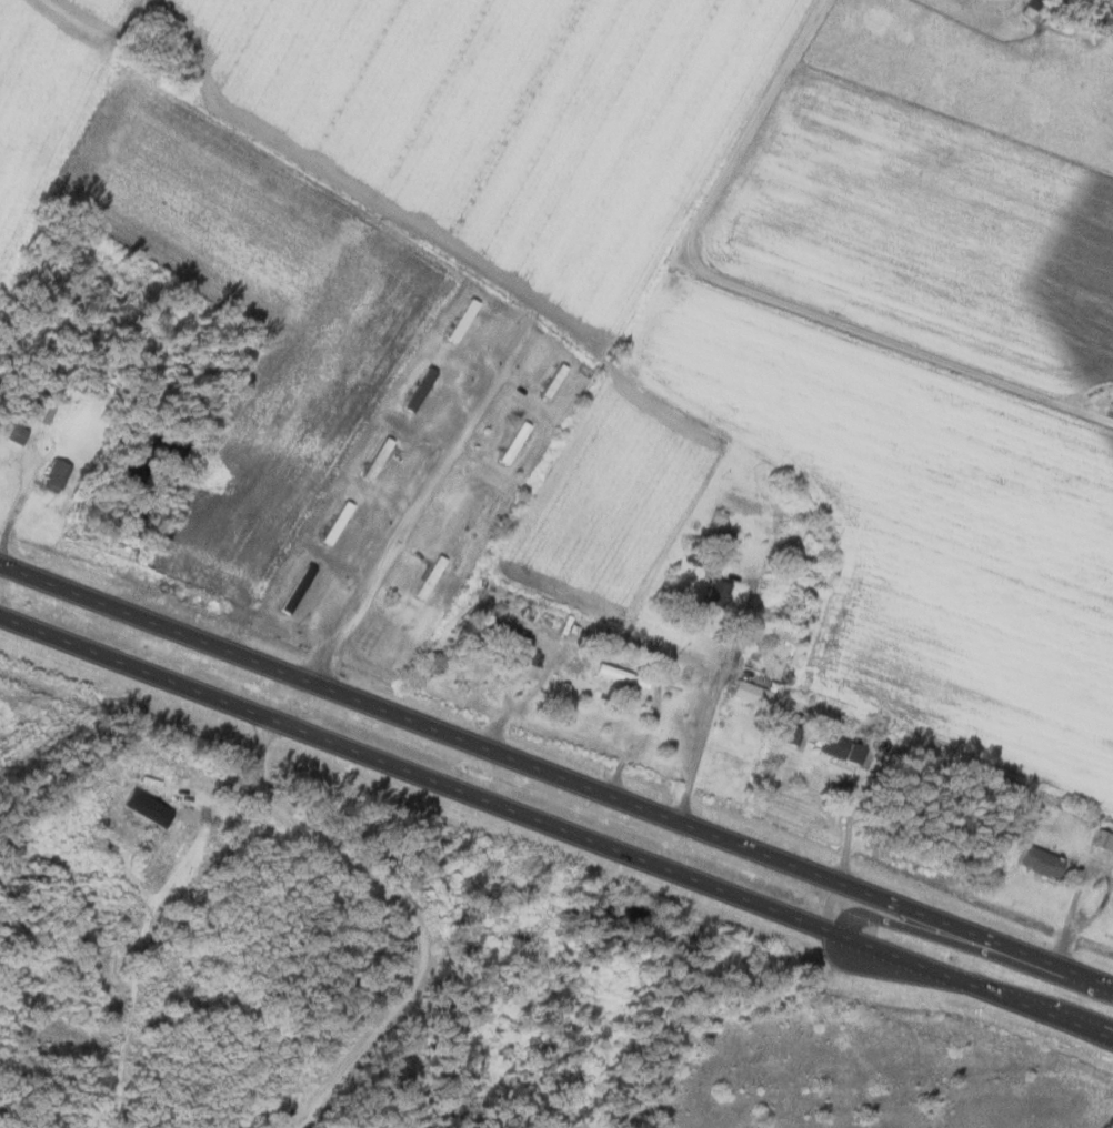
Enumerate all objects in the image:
road: (758, 295)
building: (459, 319)
building: (417, 387)
building: (1111, 411)
building: (41, 412)
building: (13, 433)
building: (373, 457)
building: (53, 474)
road: (441, 489)
building: (333, 522)
road: (729, 655)
building: (794, 731)
building: (844, 751)
road: (555, 775)
road: (556, 826)
building: (1039, 863)
road: (969, 946)
road: (1081, 1018)

